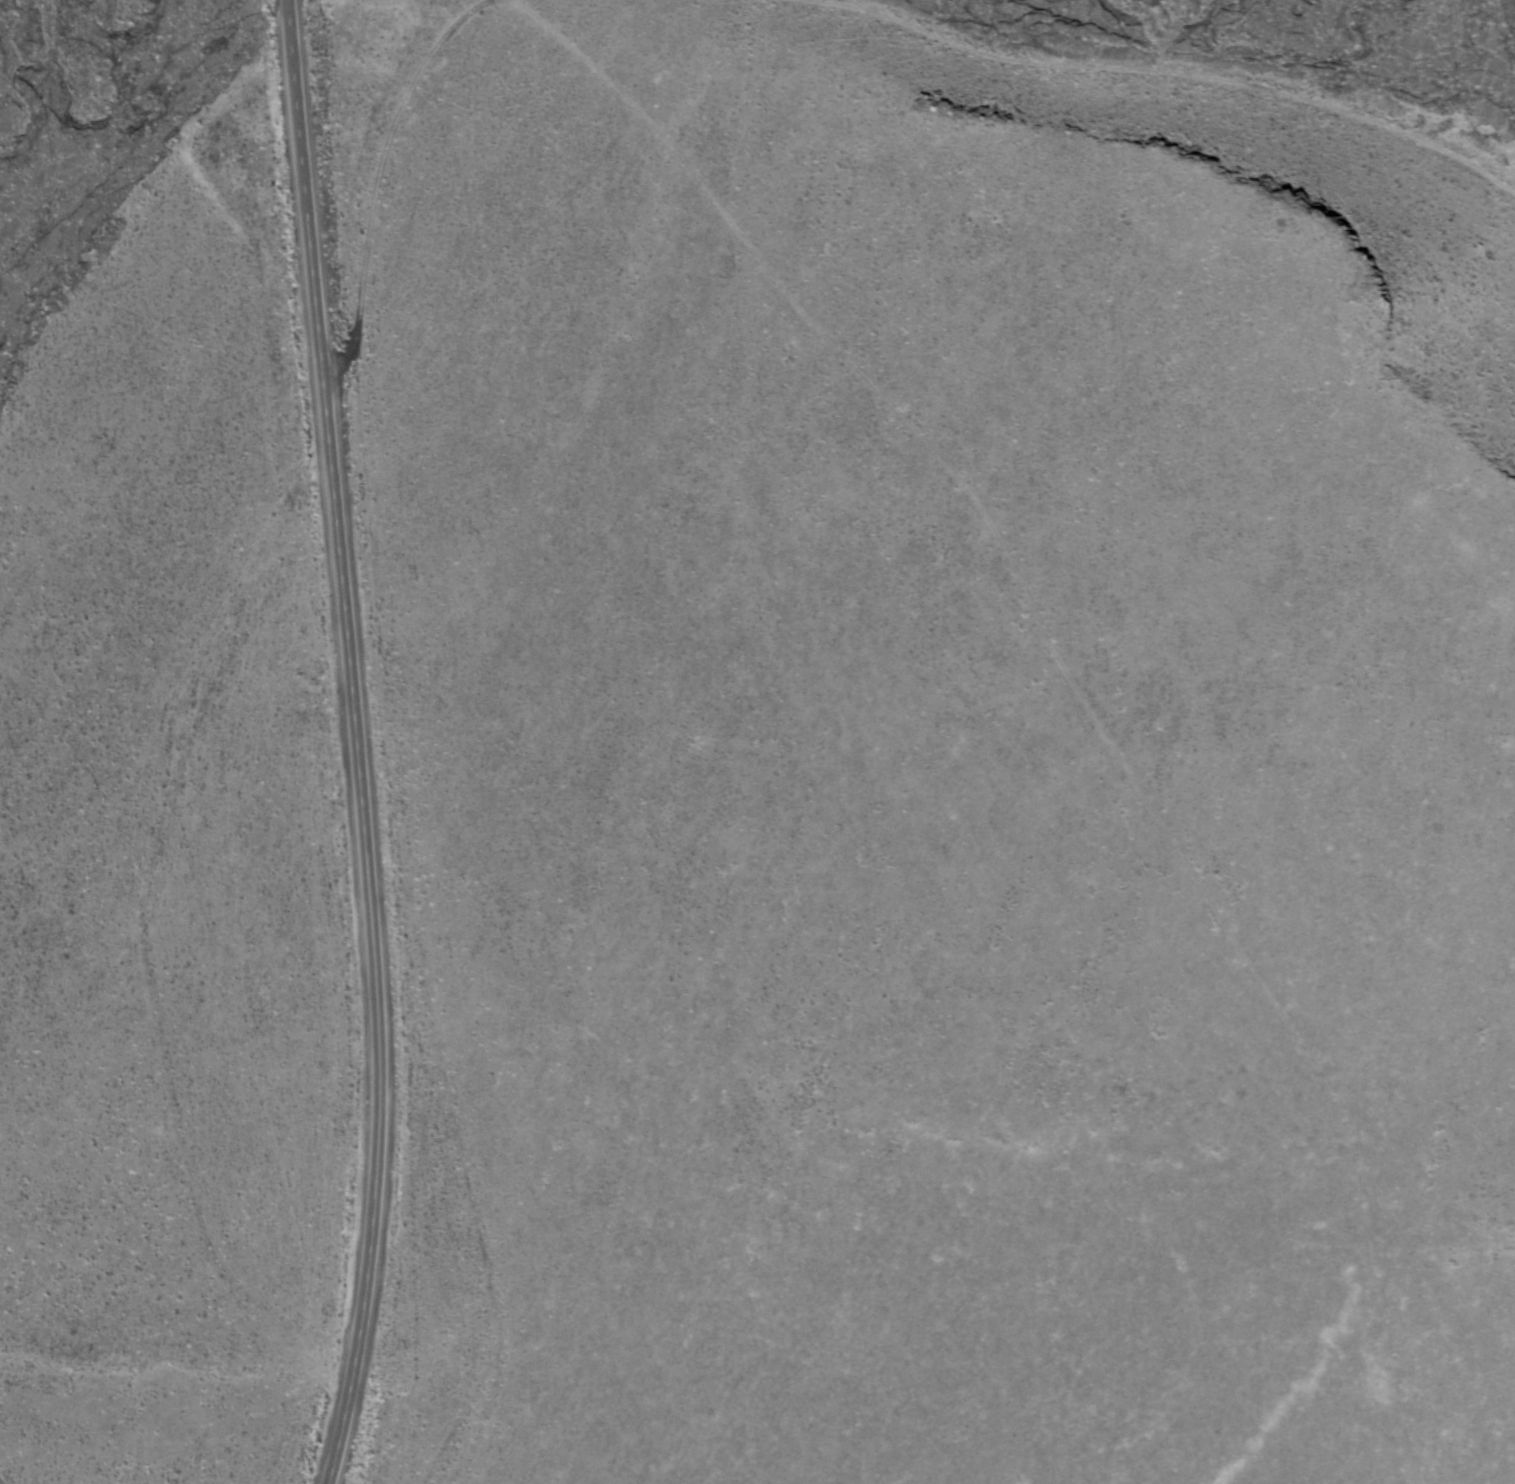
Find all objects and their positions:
road: (350, 742)

